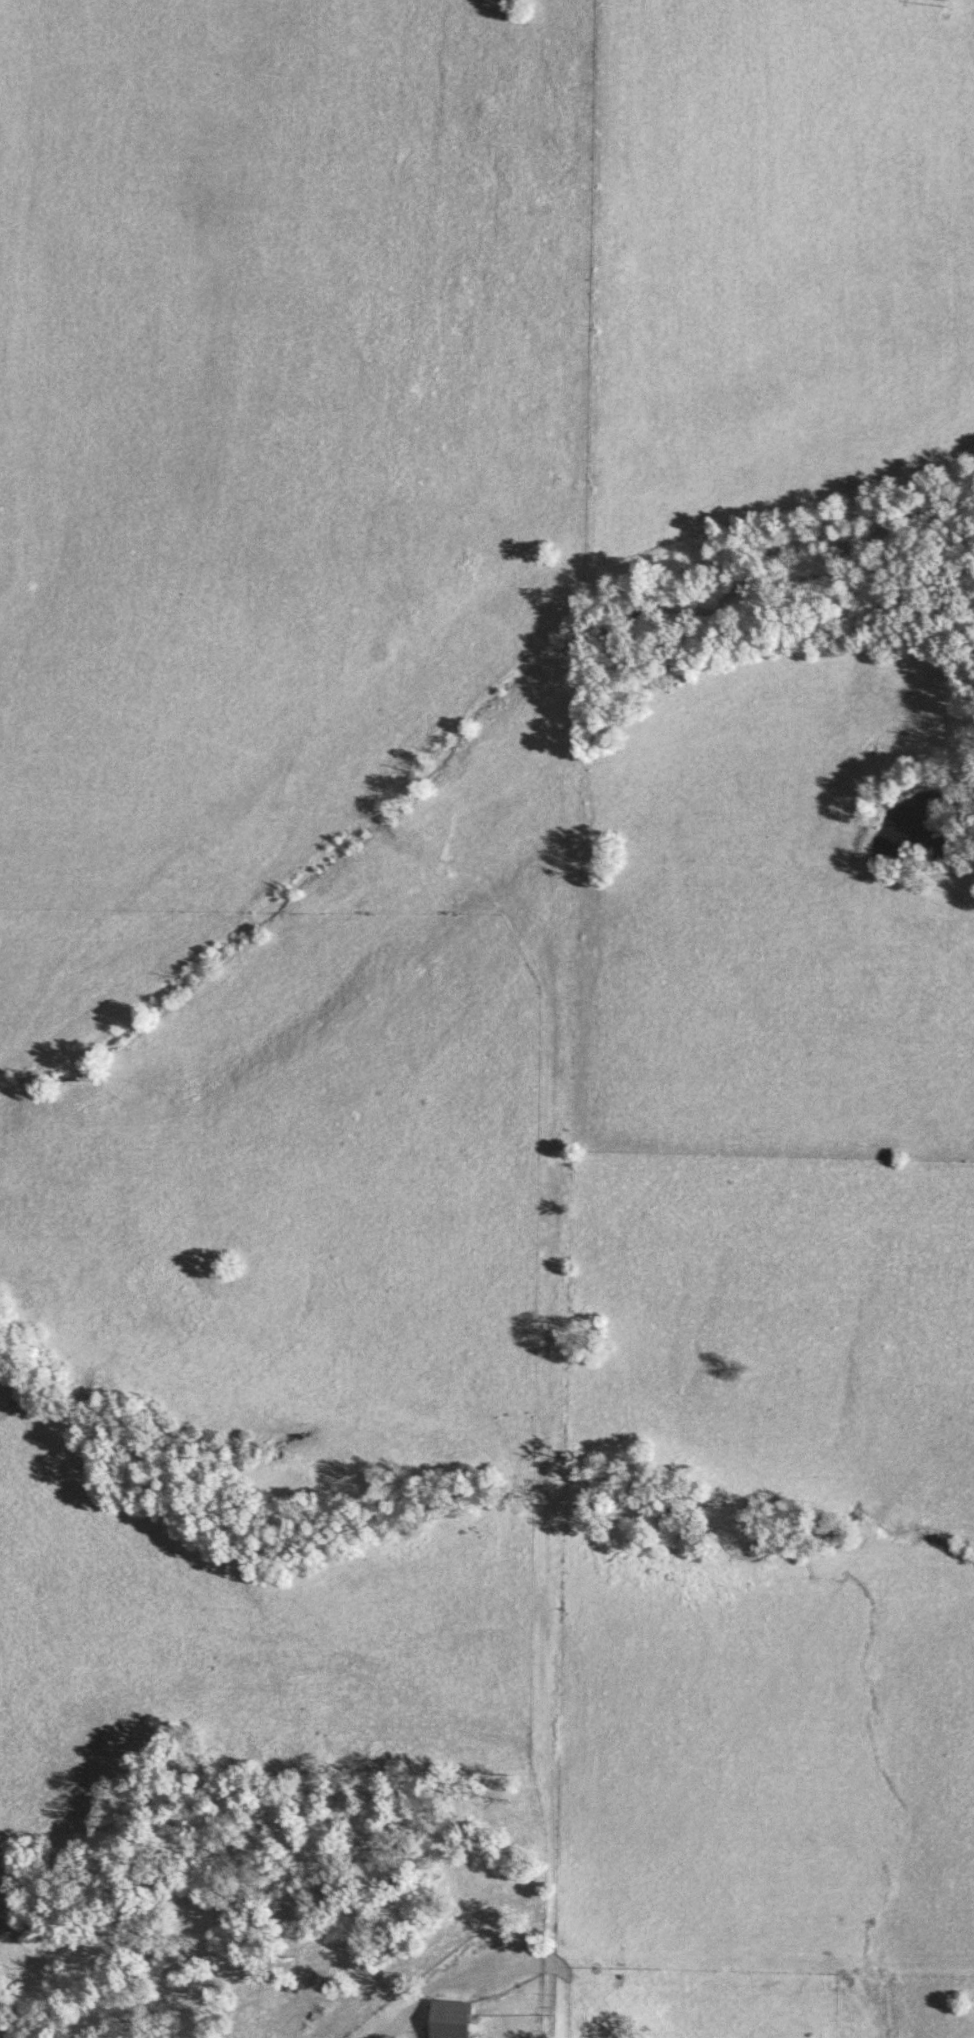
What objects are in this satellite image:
building: (449, 2019)

